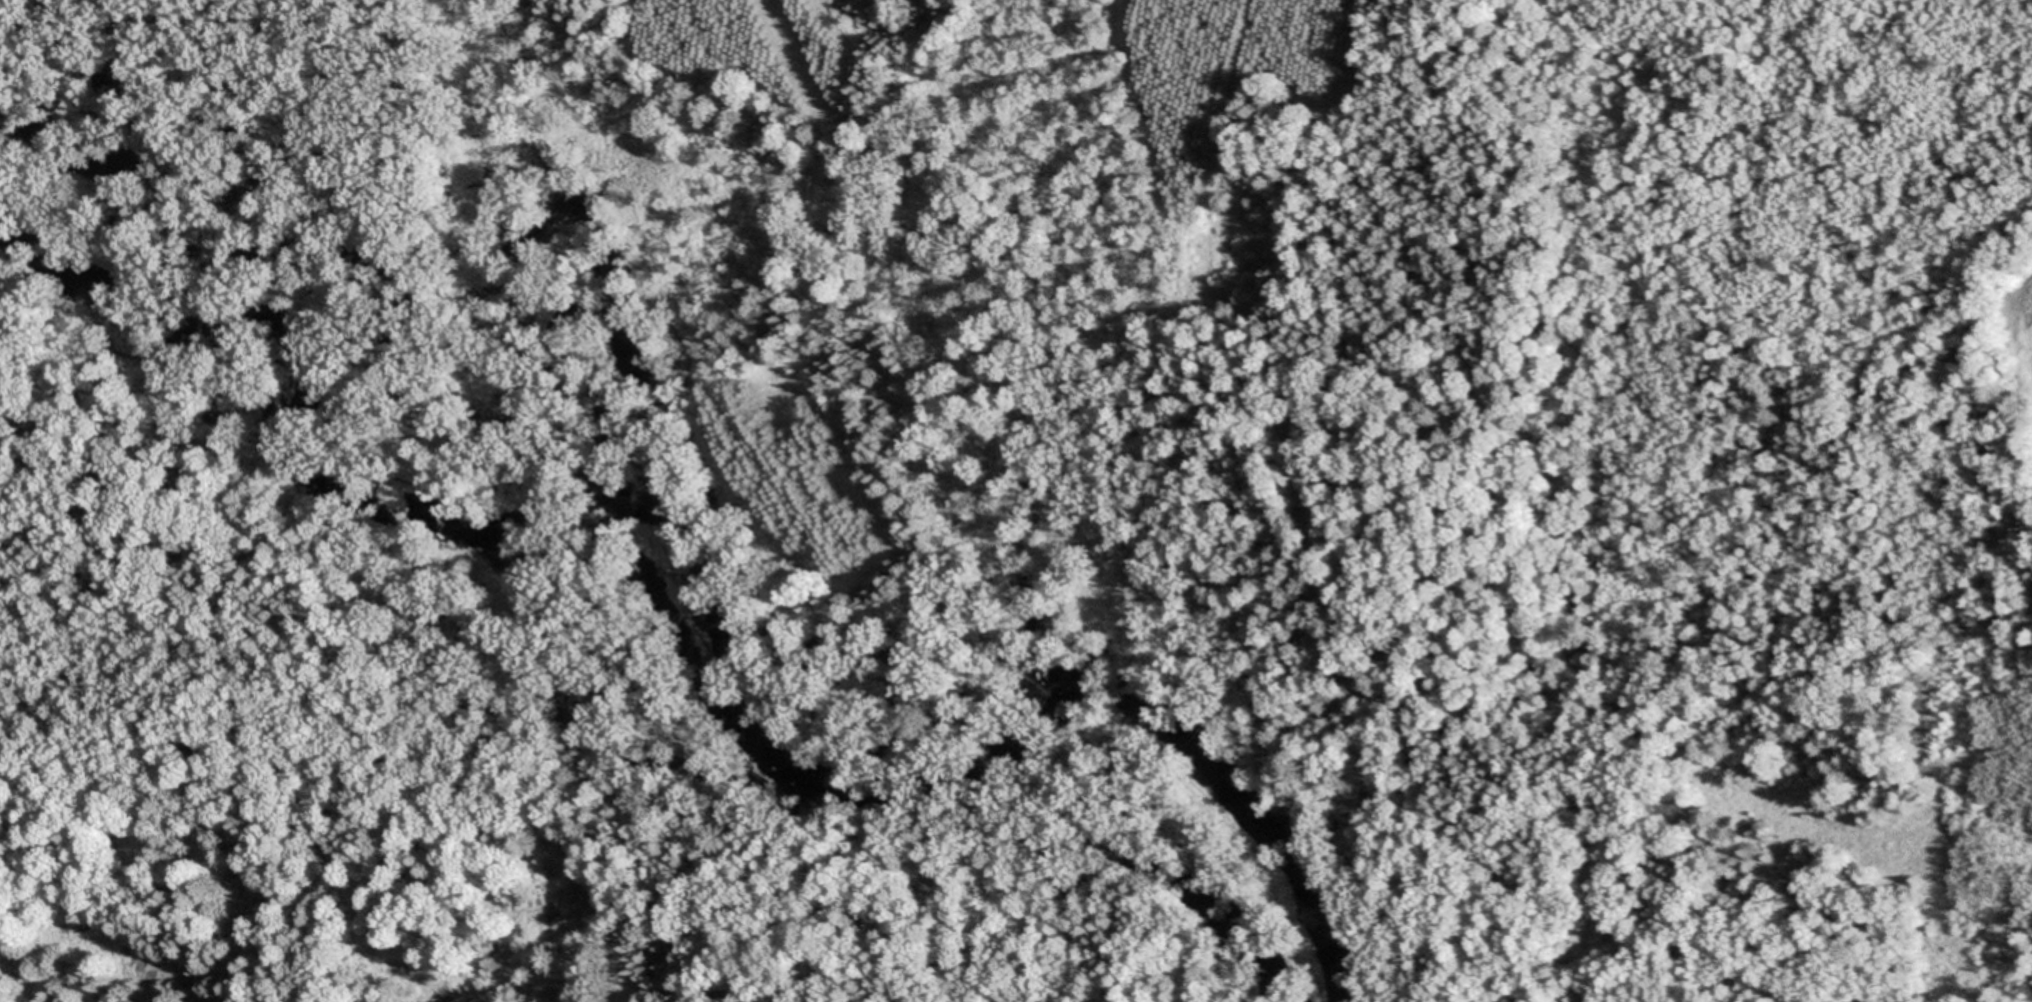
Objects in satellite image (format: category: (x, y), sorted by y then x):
river: (665, 526)

